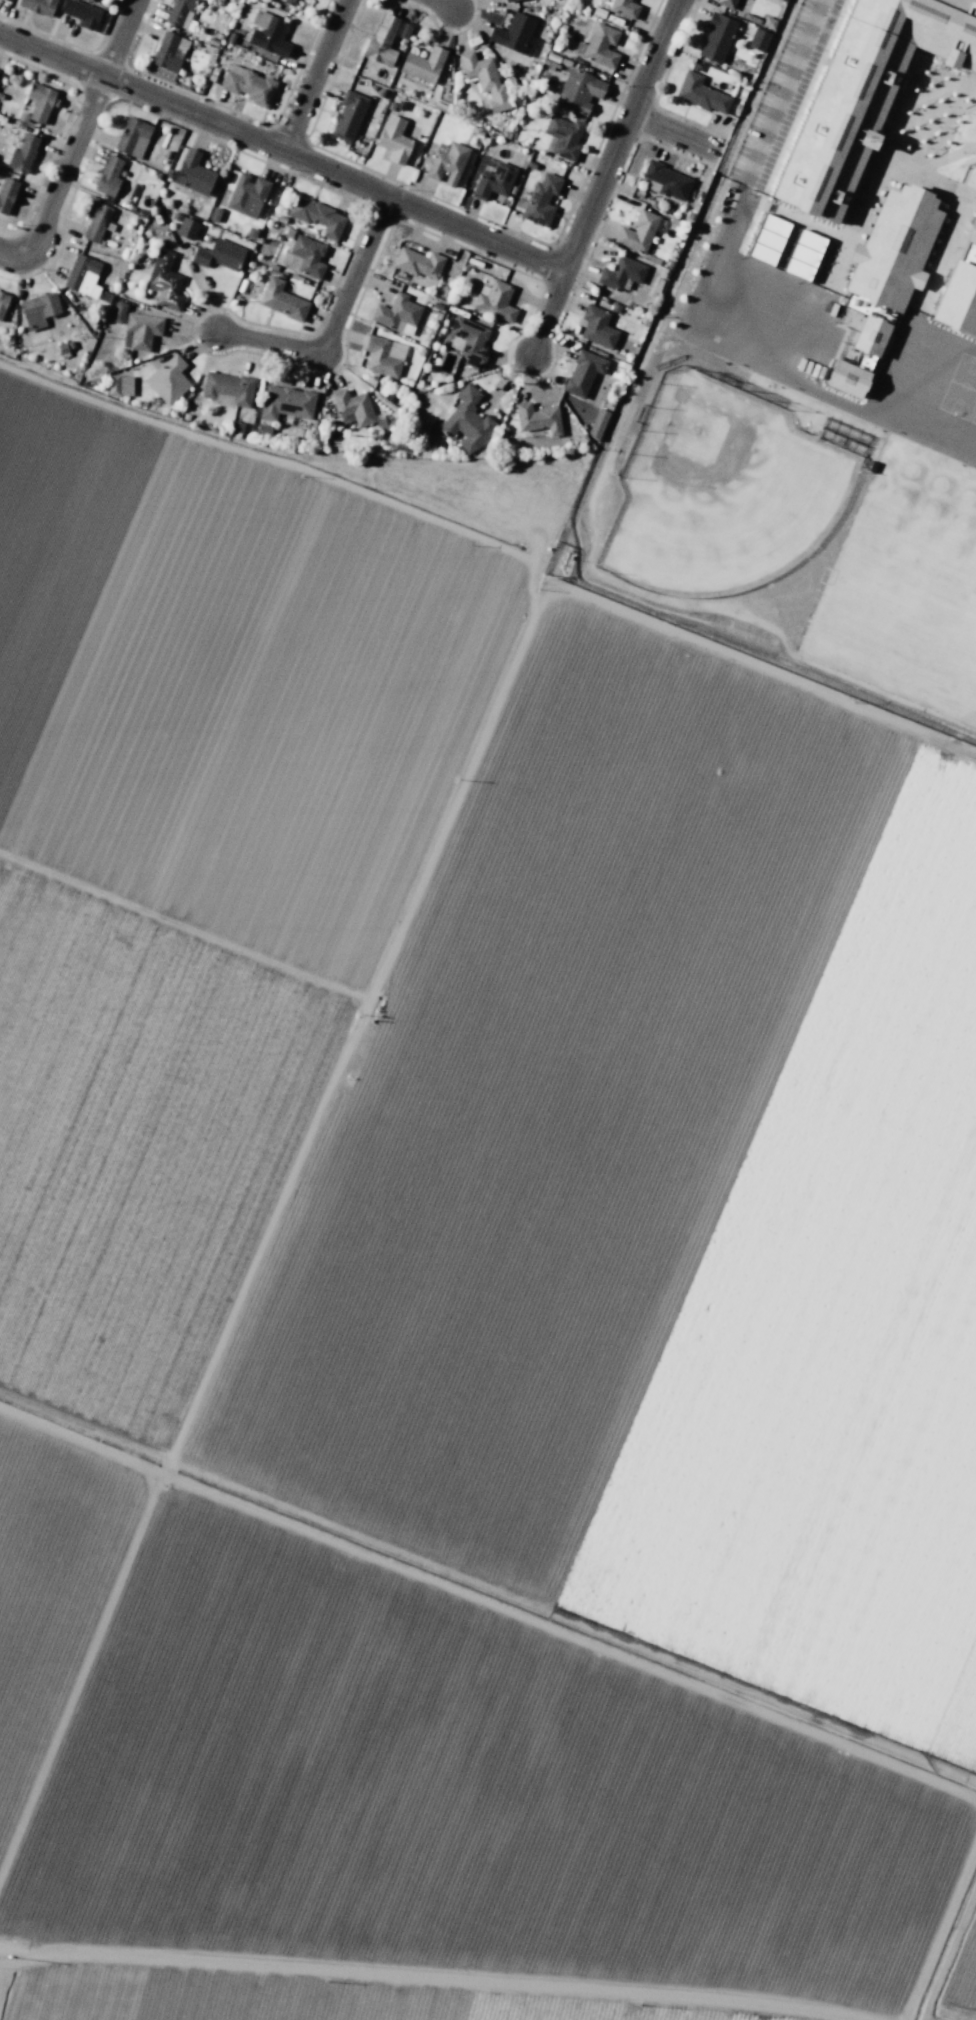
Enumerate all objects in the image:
building: (507, 0)
building: (780, 0)
building: (783, 0)
building: (288, 2)
building: (726, 3)
road: (443, 4)
building: (38, 6)
building: (625, 7)
building: (82, 13)
building: (182, 13)
building: (768, 22)
building: (268, 34)
building: (514, 34)
building: (717, 38)
building: (758, 39)
building: (382, 41)
building: (599, 45)
building: (166, 53)
building: (423, 64)
building: (695, 67)
road: (315, 75)
building: (485, 80)
building: (248, 85)
building: (578, 90)
building: (868, 92)
building: (701, 93)
building: (38, 102)
building: (348, 116)
road: (83, 122)
road: (673, 131)
road: (620, 134)
building: (133, 137)
building: (563, 138)
building: (394, 139)
road: (282, 150)
building: (23, 152)
building: (446, 162)
building: (193, 174)
building: (108, 176)
building: (666, 180)
building: (494, 181)
building: (7, 194)
building: (247, 195)
building: (540, 200)
building: (214, 214)
building: (175, 216)
building: (317, 216)
building: (95, 221)
building: (187, 228)
building: (638, 231)
building: (251, 232)
building: (767, 239)
building: (970, 246)
road: (16, 249)
building: (219, 254)
building: (302, 255)
building: (804, 255)
building: (418, 263)
building: (621, 273)
building: (82, 275)
building: (887, 276)
building: (165, 282)
building: (242, 286)
building: (106, 297)
building: (282, 300)
building: (959, 300)
building: (496, 301)
building: (3, 302)
building: (100, 307)
building: (38, 310)
building: (117, 311)
building: (396, 312)
road: (547, 312)
road: (334, 323)
building: (597, 327)
building: (140, 331)
building: (468, 340)
building: (70, 344)
building: (62, 349)
building: (380, 356)
building: (583, 372)
building: (168, 379)
building: (119, 385)
building: (227, 388)
building: (286, 402)
building: (351, 407)
building: (538, 418)
building: (468, 420)
building: (597, 423)
building: (237, 426)
building: (263, 429)
building: (383, 435)
building: (400, 445)
crop: (465, 1278)

